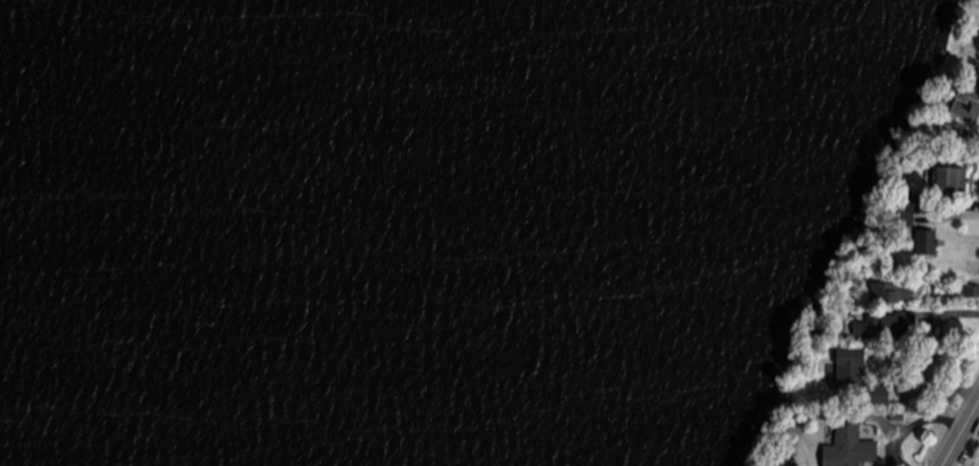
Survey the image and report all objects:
building: (968, 103)
building: (941, 134)
building: (952, 182)
building: (914, 203)
road: (974, 208)
building: (907, 220)
building: (927, 245)
building: (972, 293)
building: (885, 295)
building: (886, 327)
building: (851, 367)
building: (877, 397)
road: (915, 425)
road: (961, 434)
building: (852, 449)
crop: (971, 452)

